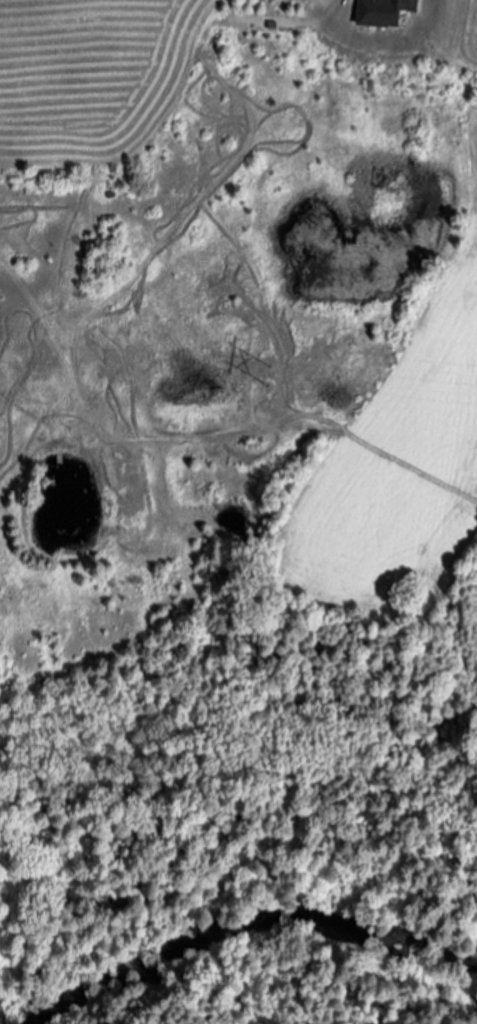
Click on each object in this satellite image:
building: (388, 12)
power tower: (273, 379)
river: (251, 925)

